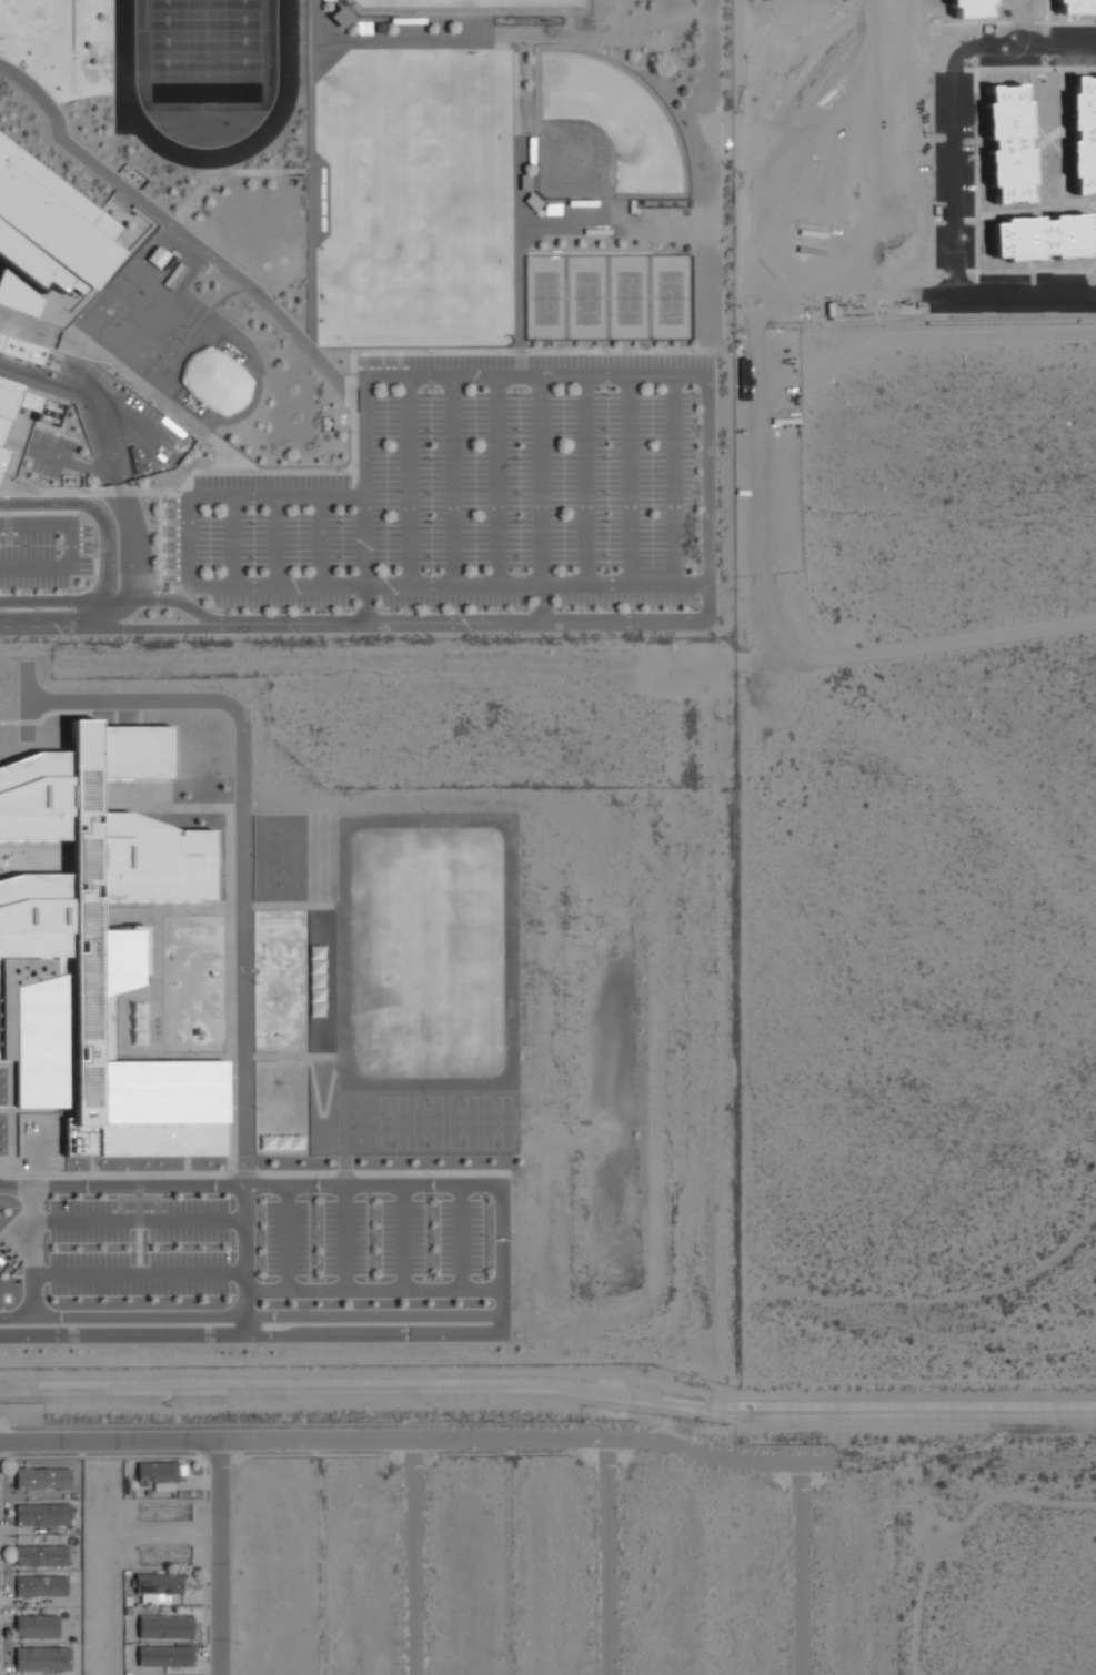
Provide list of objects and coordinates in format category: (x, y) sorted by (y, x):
park: (464, 8)
park: (208, 51)
track: (122, 82)
park: (599, 131)
road: (957, 175)
park: (414, 200)
building: (51, 225)
road: (179, 230)
building: (157, 255)
park: (627, 296)
park: (668, 296)
park: (544, 297)
park: (586, 297)
park: (151, 326)
building: (22, 350)
building: (215, 380)
building: (2, 437)
parking lot: (49, 455)
road: (69, 463)
road: (627, 480)
road: (672, 480)
road: (583, 481)
road: (408, 482)
road: (452, 482)
road: (494, 482)
parking lot: (477, 494)
road: (121, 496)
road: (328, 497)
road: (539, 500)
road: (100, 519)
road: (230, 541)
road: (274, 541)
road: (318, 541)
road: (70, 547)
parking lot: (43, 552)
road: (364, 559)
road: (175, 601)
road: (63, 602)
road: (114, 613)
road: (462, 623)
road: (50, 624)
road: (160, 628)
building: (100, 945)
park: (425, 951)
building: (314, 980)
building: (135, 1025)
park: (392, 1121)
park: (428, 1121)
park: (462, 1121)
park: (496, 1121)
road: (303, 1184)
road: (138, 1220)
road: (461, 1235)
road: (286, 1237)
road: (345, 1237)
parking lot: (372, 1237)
road: (402, 1237)
parking lot: (138, 1245)
road: (244, 1259)
road: (31, 1260)
road: (138, 1272)
road: (373, 1289)
road: (503, 1310)
road: (251, 1315)
road: (252, 1333)
road: (399, 1440)
building: (158, 1473)
building: (43, 1479)
building: (42, 1514)
building: (41, 1556)
road: (604, 1556)
road: (219, 1557)
road: (411, 1557)
road: (795, 1568)
building: (158, 1584)
building: (40, 1586)
building: (37, 1627)
building: (165, 1628)
building: (165, 1657)
building: (42, 1661)

